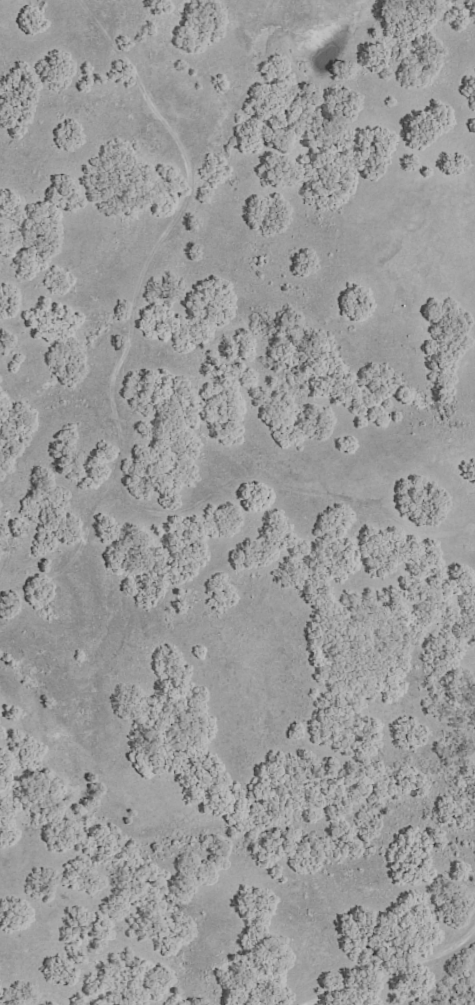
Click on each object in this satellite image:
road: (402, 968)

